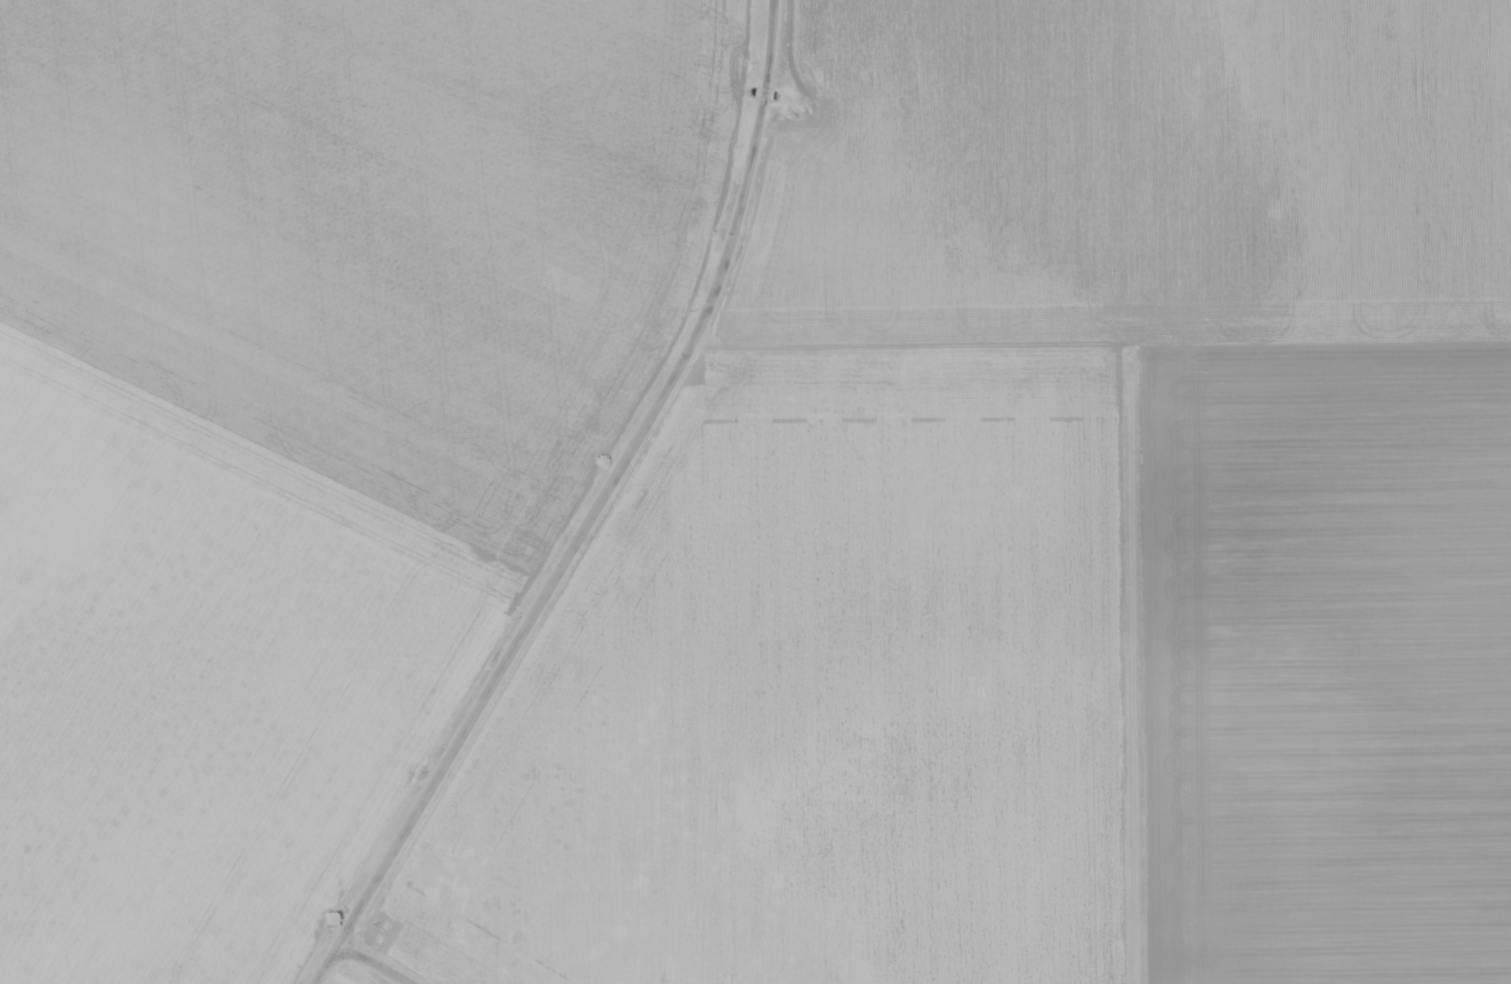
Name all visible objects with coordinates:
road: (608, 491)
road: (331, 965)
road: (375, 965)

